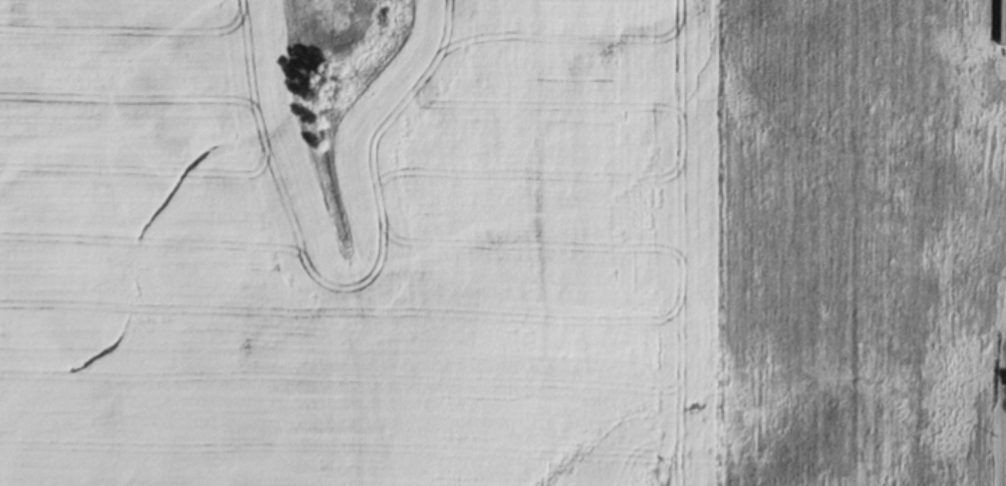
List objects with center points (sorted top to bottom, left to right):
building: (1003, 22)
crop: (488, 242)

